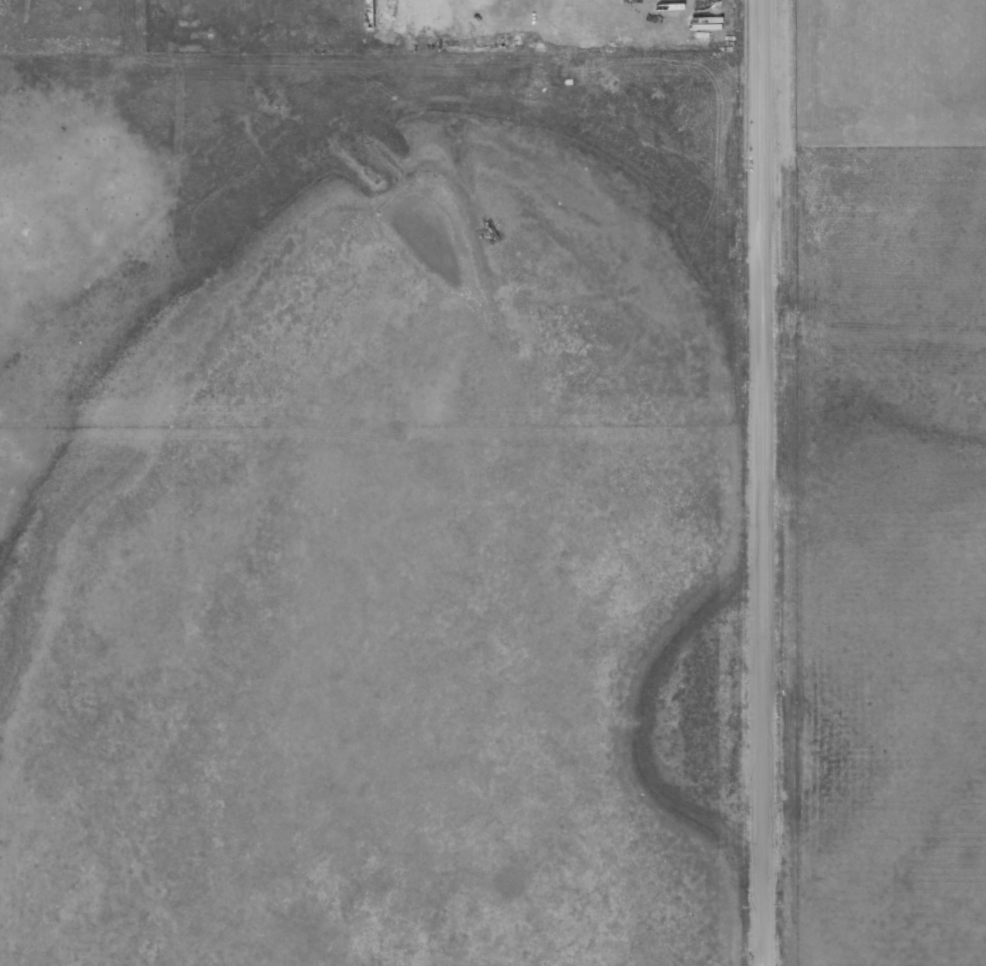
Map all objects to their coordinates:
road: (763, 483)

